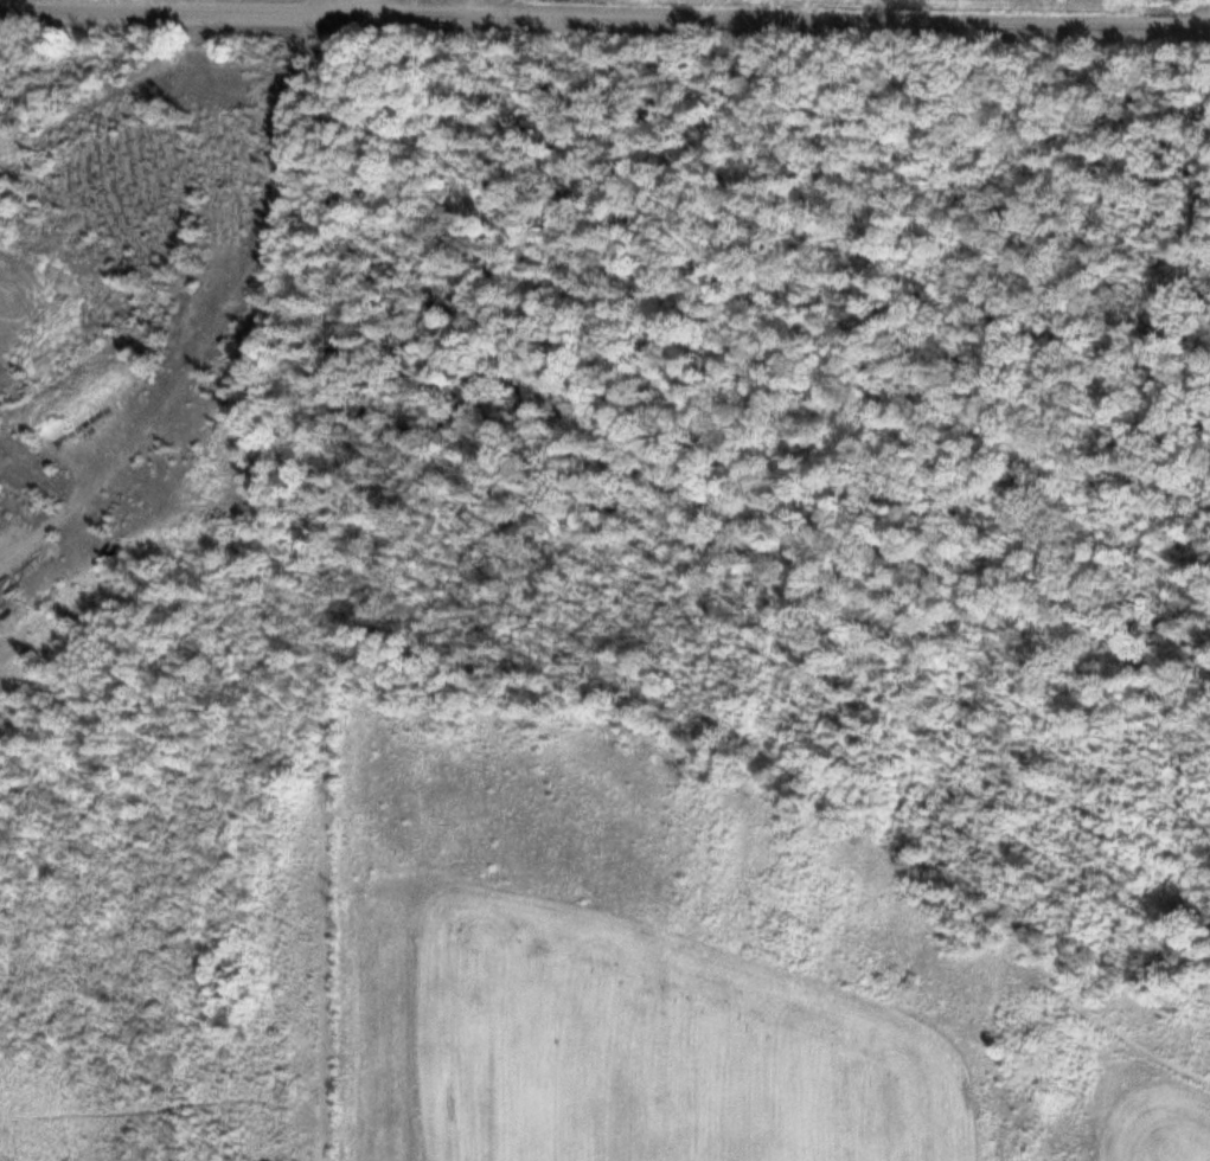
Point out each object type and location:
road: (604, 20)

